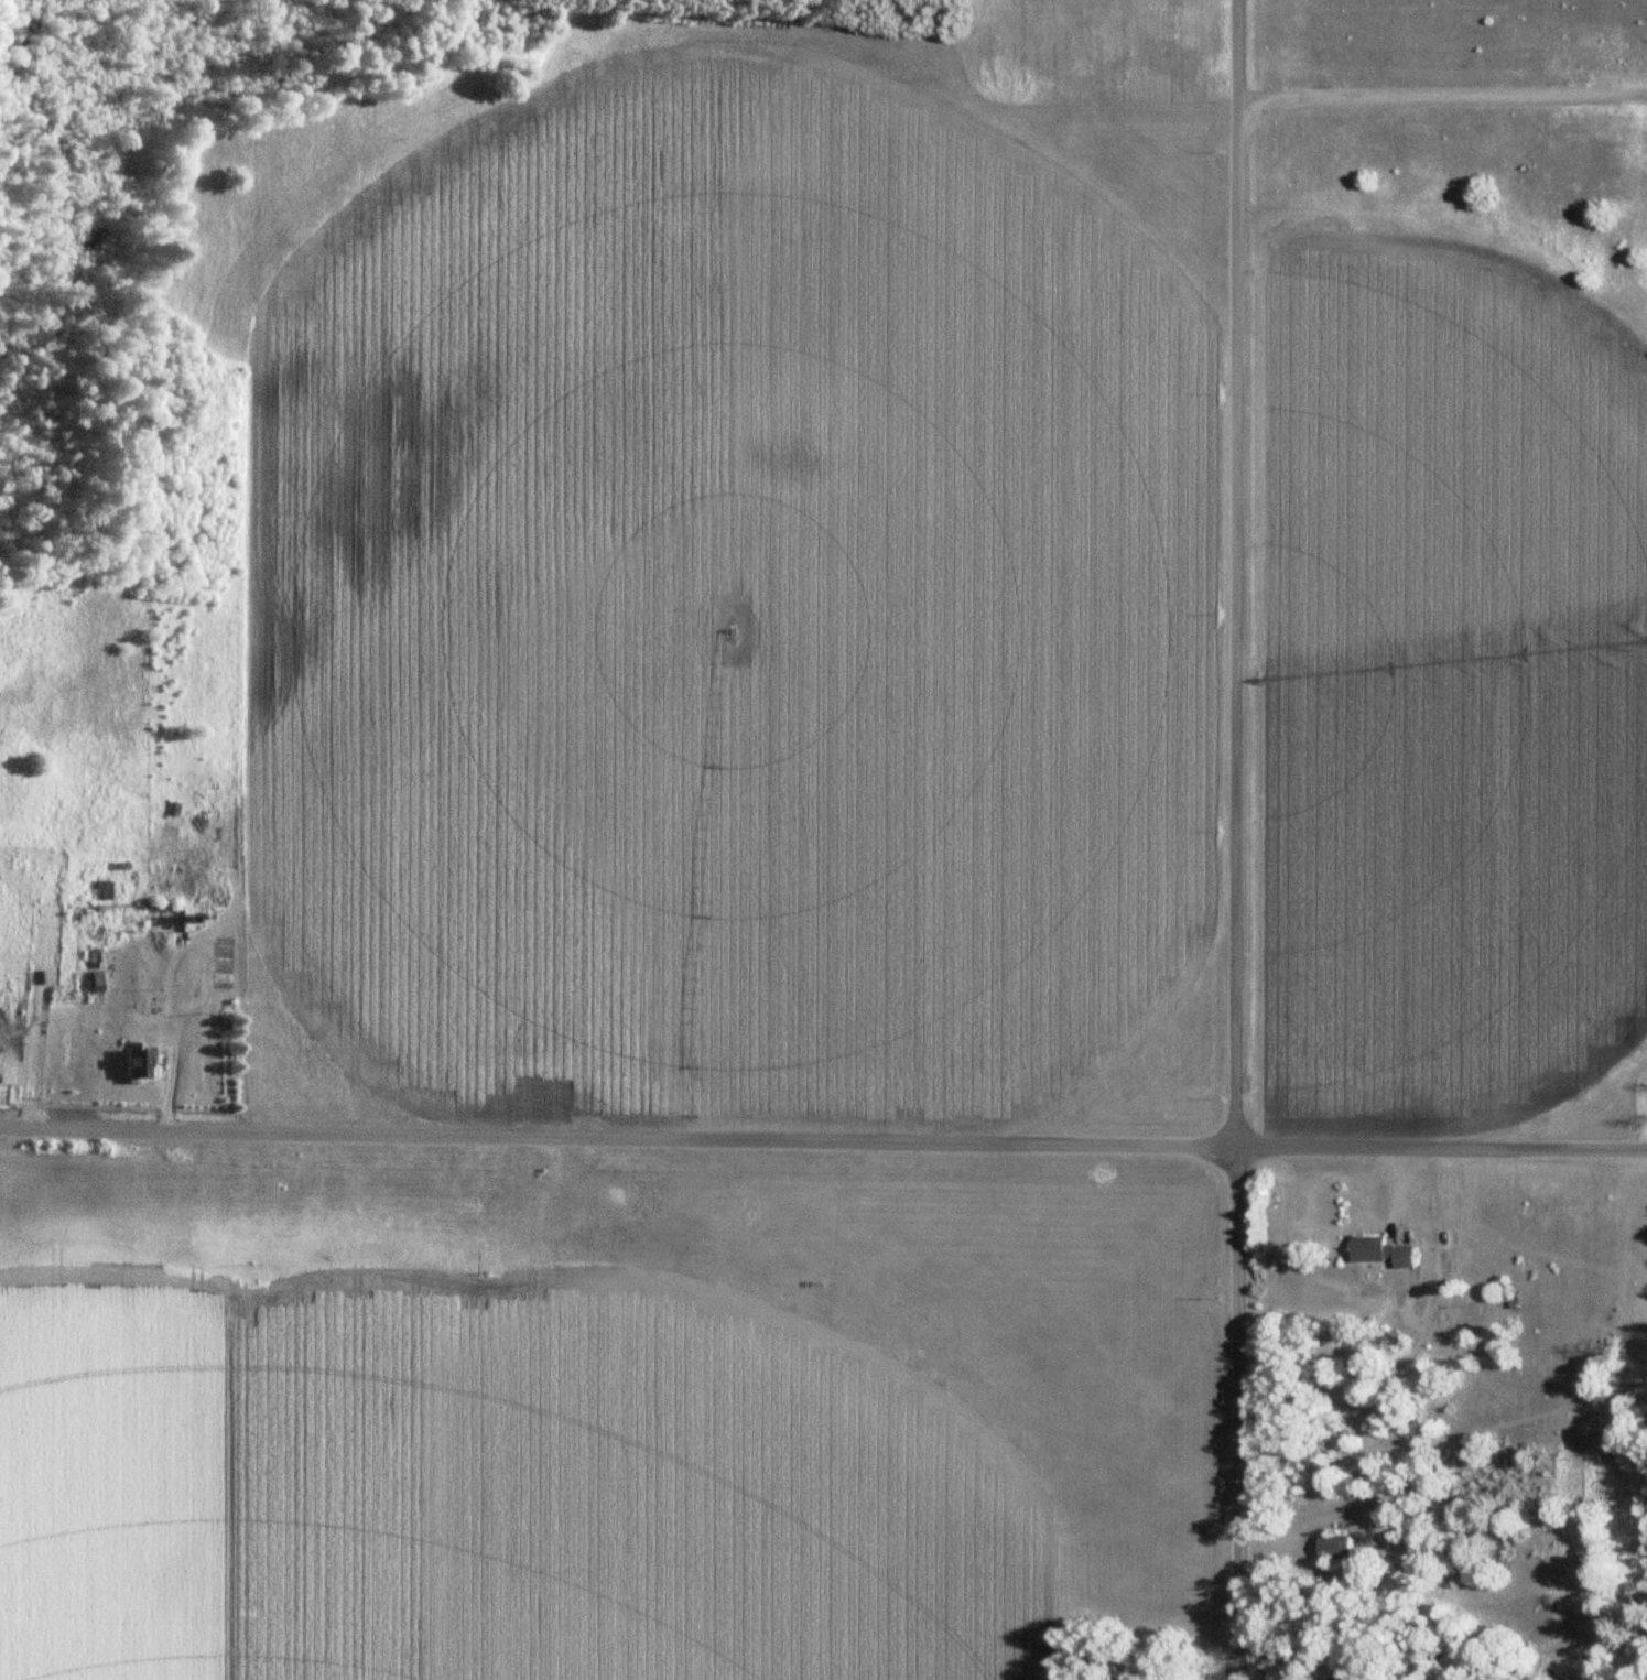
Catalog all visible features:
road: (1441, 101)
road: (1234, 572)
building: (131, 1059)
road: (616, 1134)
road: (1440, 1146)
building: (1377, 1250)
road: (1232, 1412)
building: (1331, 1548)

